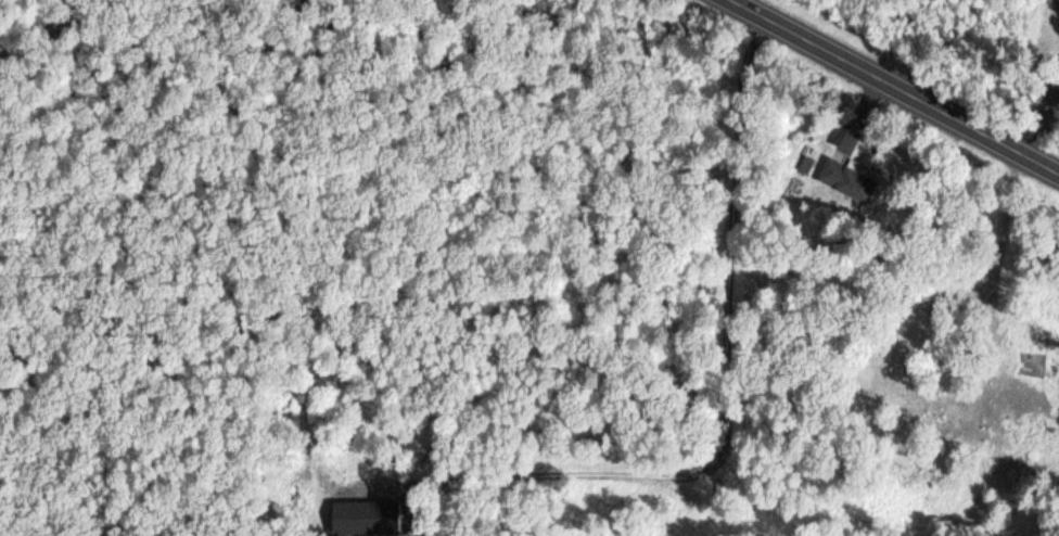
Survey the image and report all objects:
road: (890, 85)
road: (1050, 131)
building: (846, 180)
building: (908, 365)

